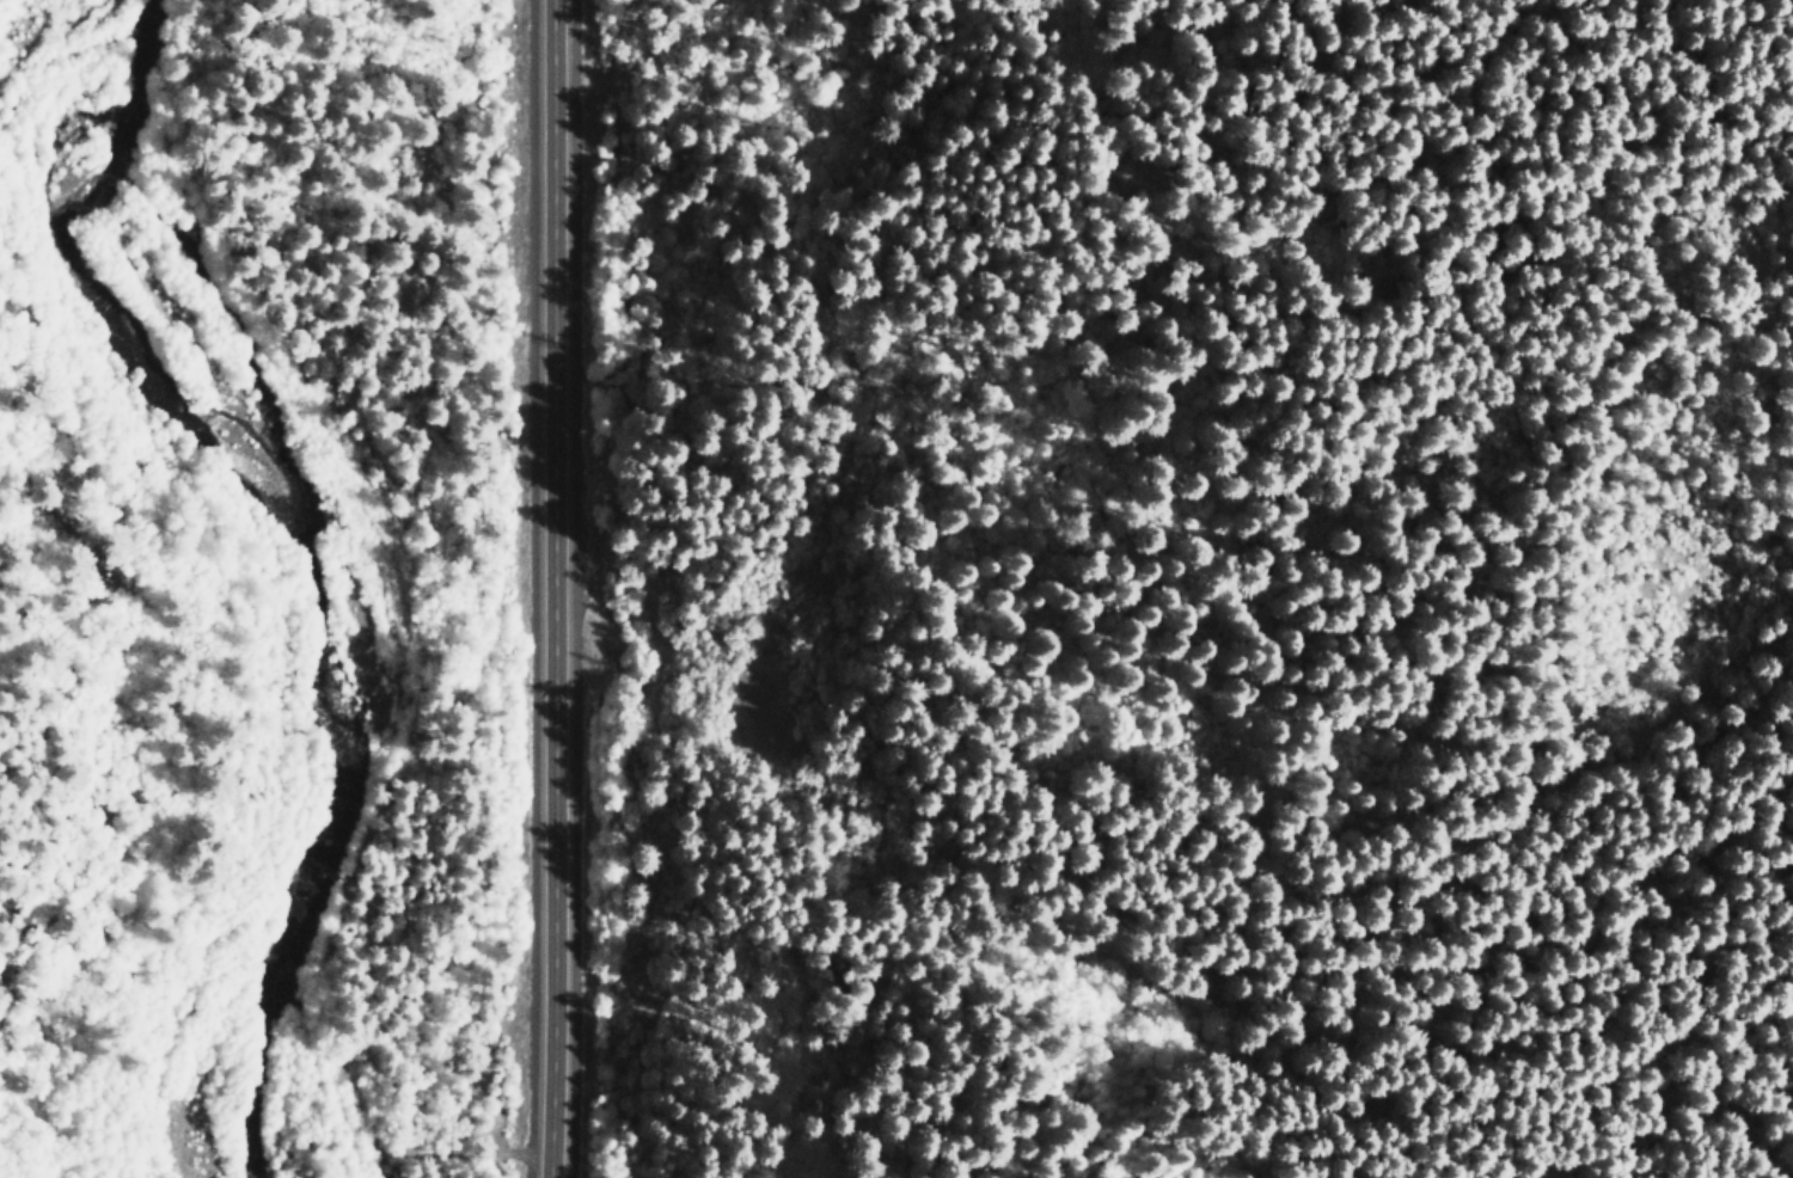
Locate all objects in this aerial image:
river: (313, 573)
road: (546, 589)

